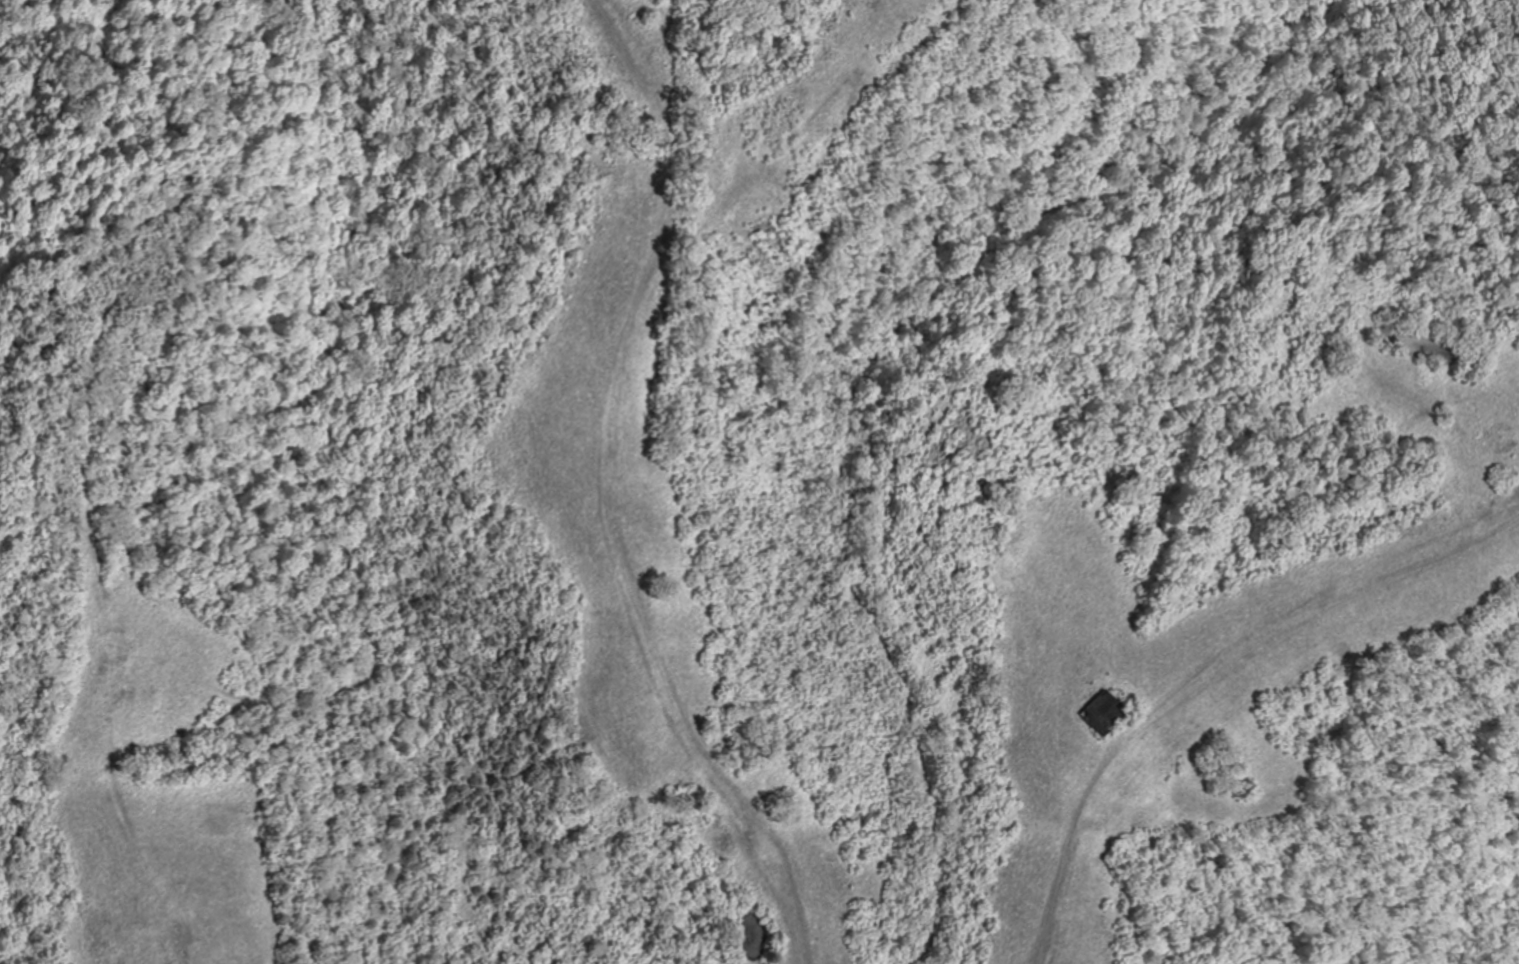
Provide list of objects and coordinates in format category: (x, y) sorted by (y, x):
road: (1206, 665)

